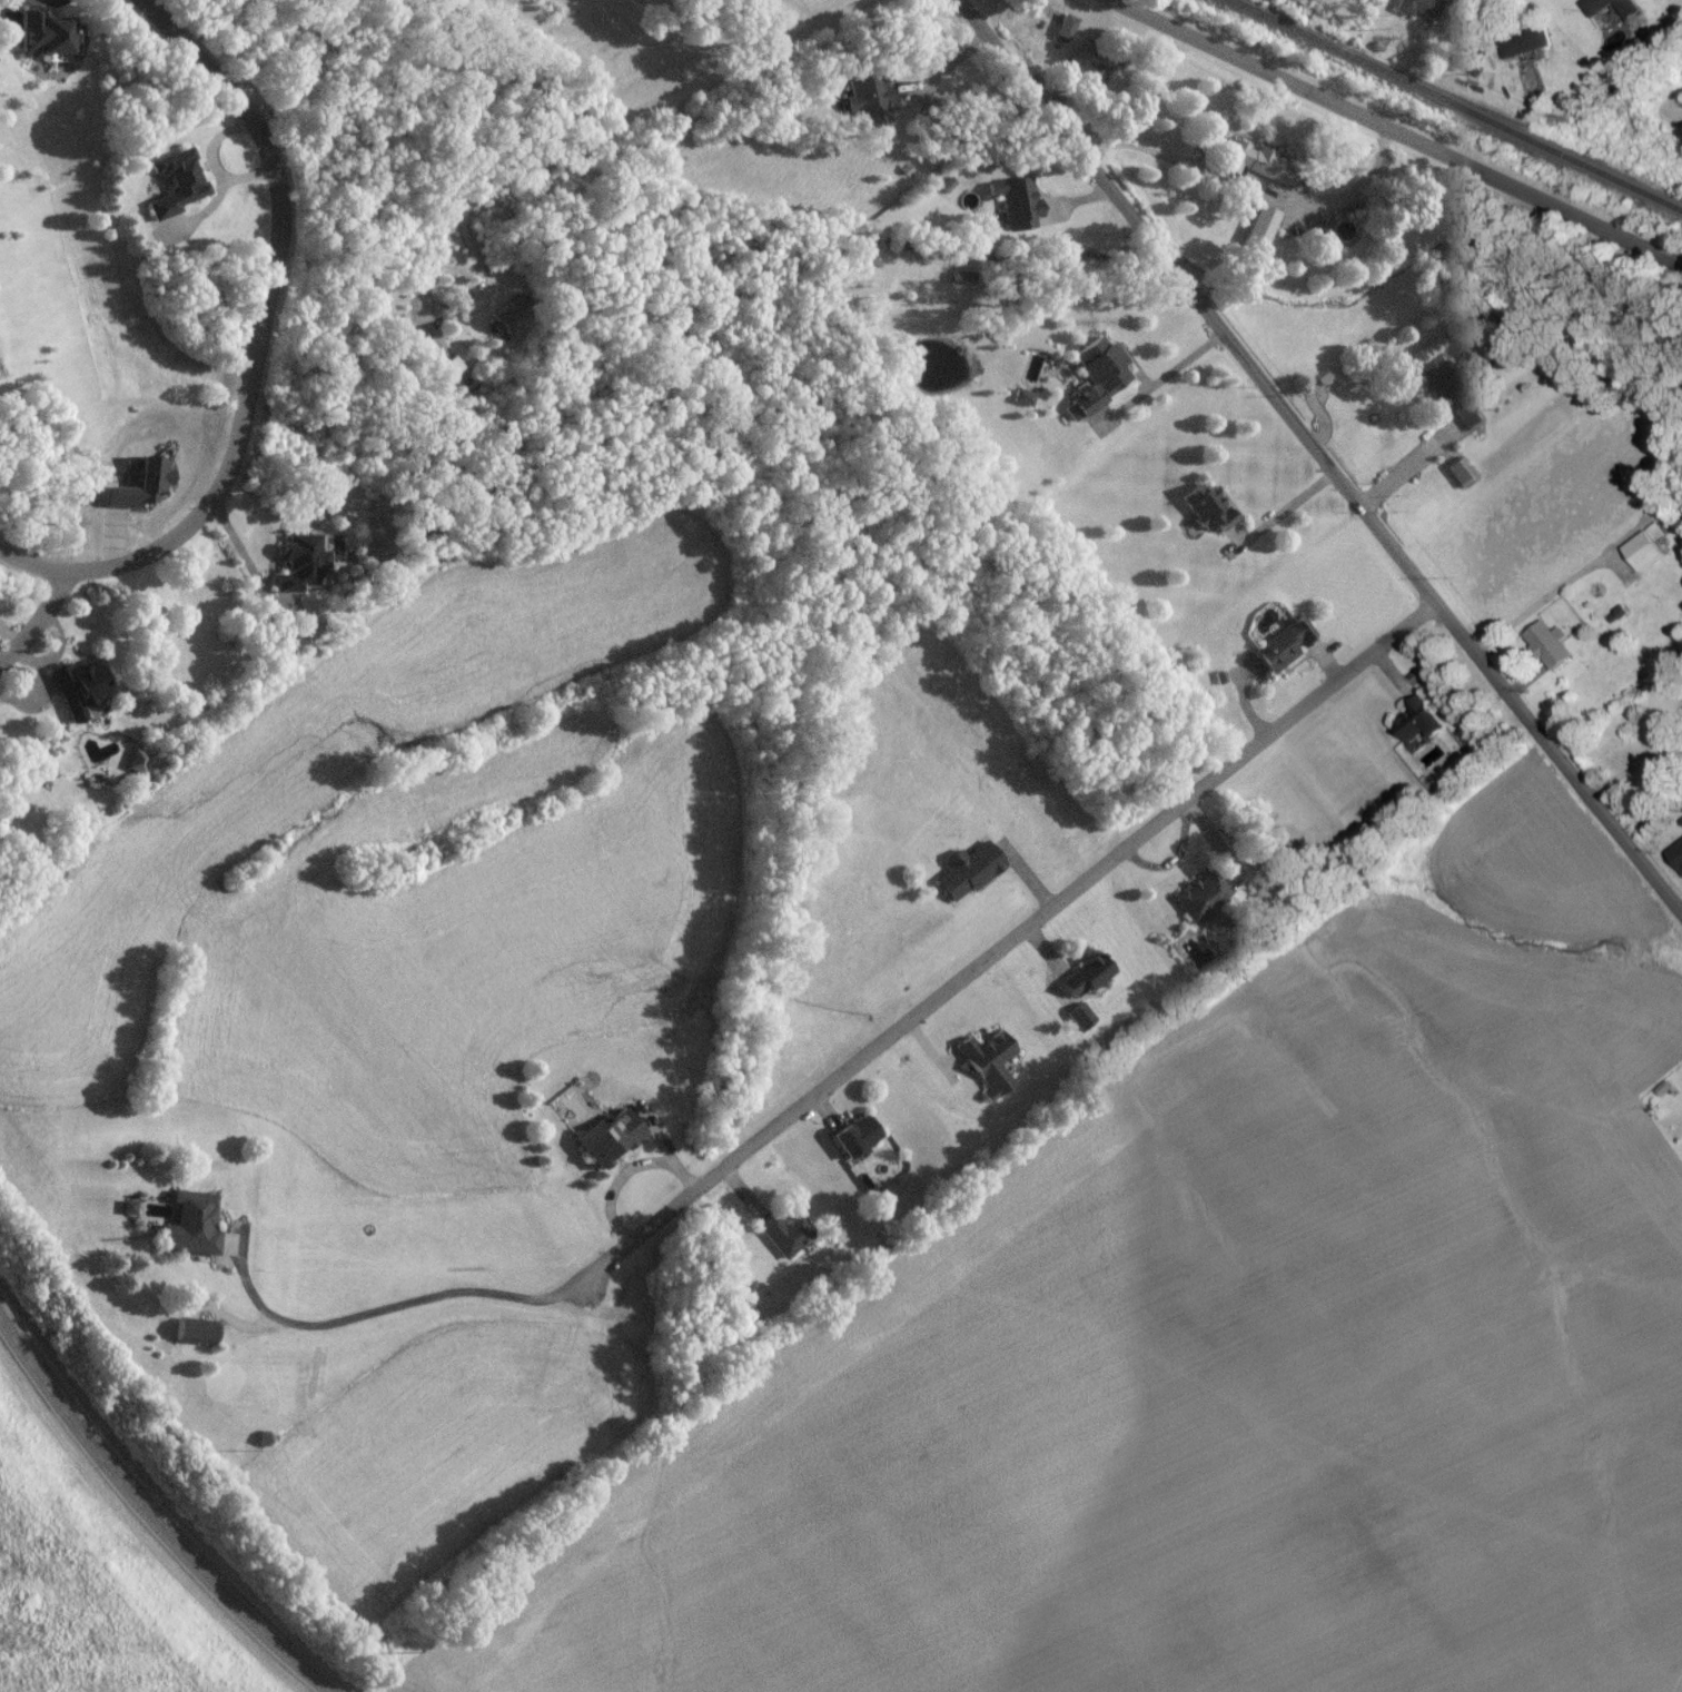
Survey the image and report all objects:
building: (1414, 11)
building: (1607, 13)
road: (1082, 19)
building: (1062, 34)
building: (37, 43)
road: (942, 77)
building: (865, 98)
railway: (1448, 108)
road: (620, 133)
road: (1385, 135)
building: (1256, 172)
road: (1247, 191)
building: (177, 199)
road: (1073, 202)
building: (1015, 209)
building: (1257, 235)
road: (258, 350)
road: (1157, 384)
building: (1088, 392)
building: (1441, 399)
road: (1316, 458)
road: (1406, 471)
building: (1460, 479)
road: (1276, 515)
building: (1206, 517)
road: (1235, 540)
road: (241, 557)
building: (1640, 558)
road: (1551, 596)
road: (40, 630)
building: (1538, 644)
building: (1278, 655)
road: (1324, 667)
road: (1391, 675)
road: (1524, 684)
building: (78, 692)
road: (1246, 711)
building: (1414, 729)
road: (1680, 753)
road: (1631, 770)
building: (1675, 862)
building: (967, 880)
building: (1198, 906)
road: (1005, 950)
building: (1080, 984)
building: (1077, 1027)
building: (987, 1068)
building: (852, 1144)
building: (606, 1146)
road: (399, 1309)
road: (147, 1520)

